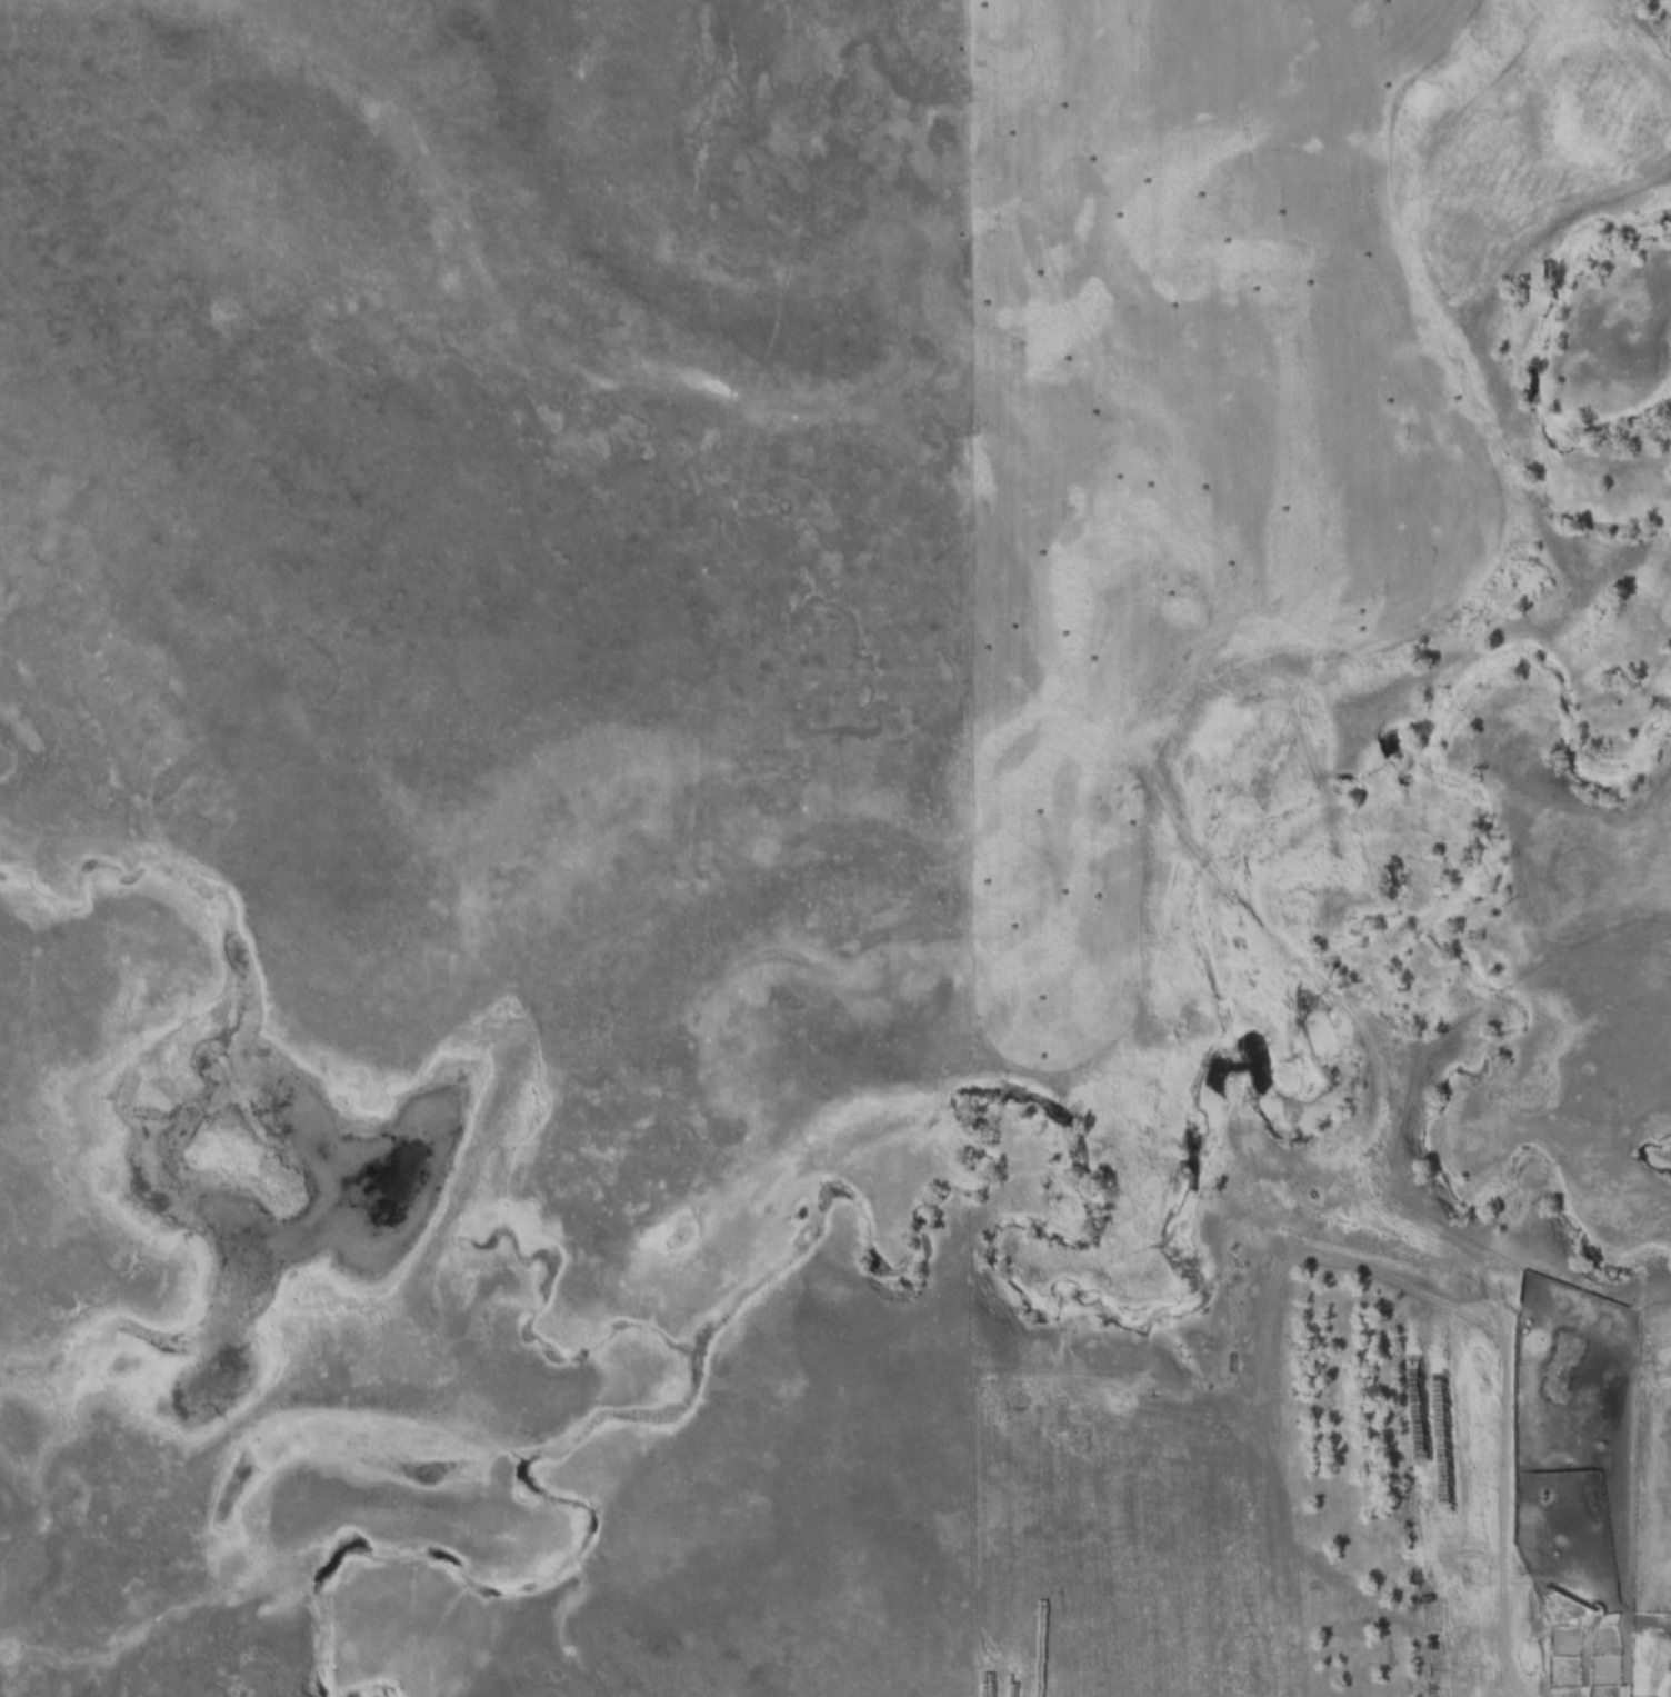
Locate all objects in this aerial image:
road: (1518, 1545)

